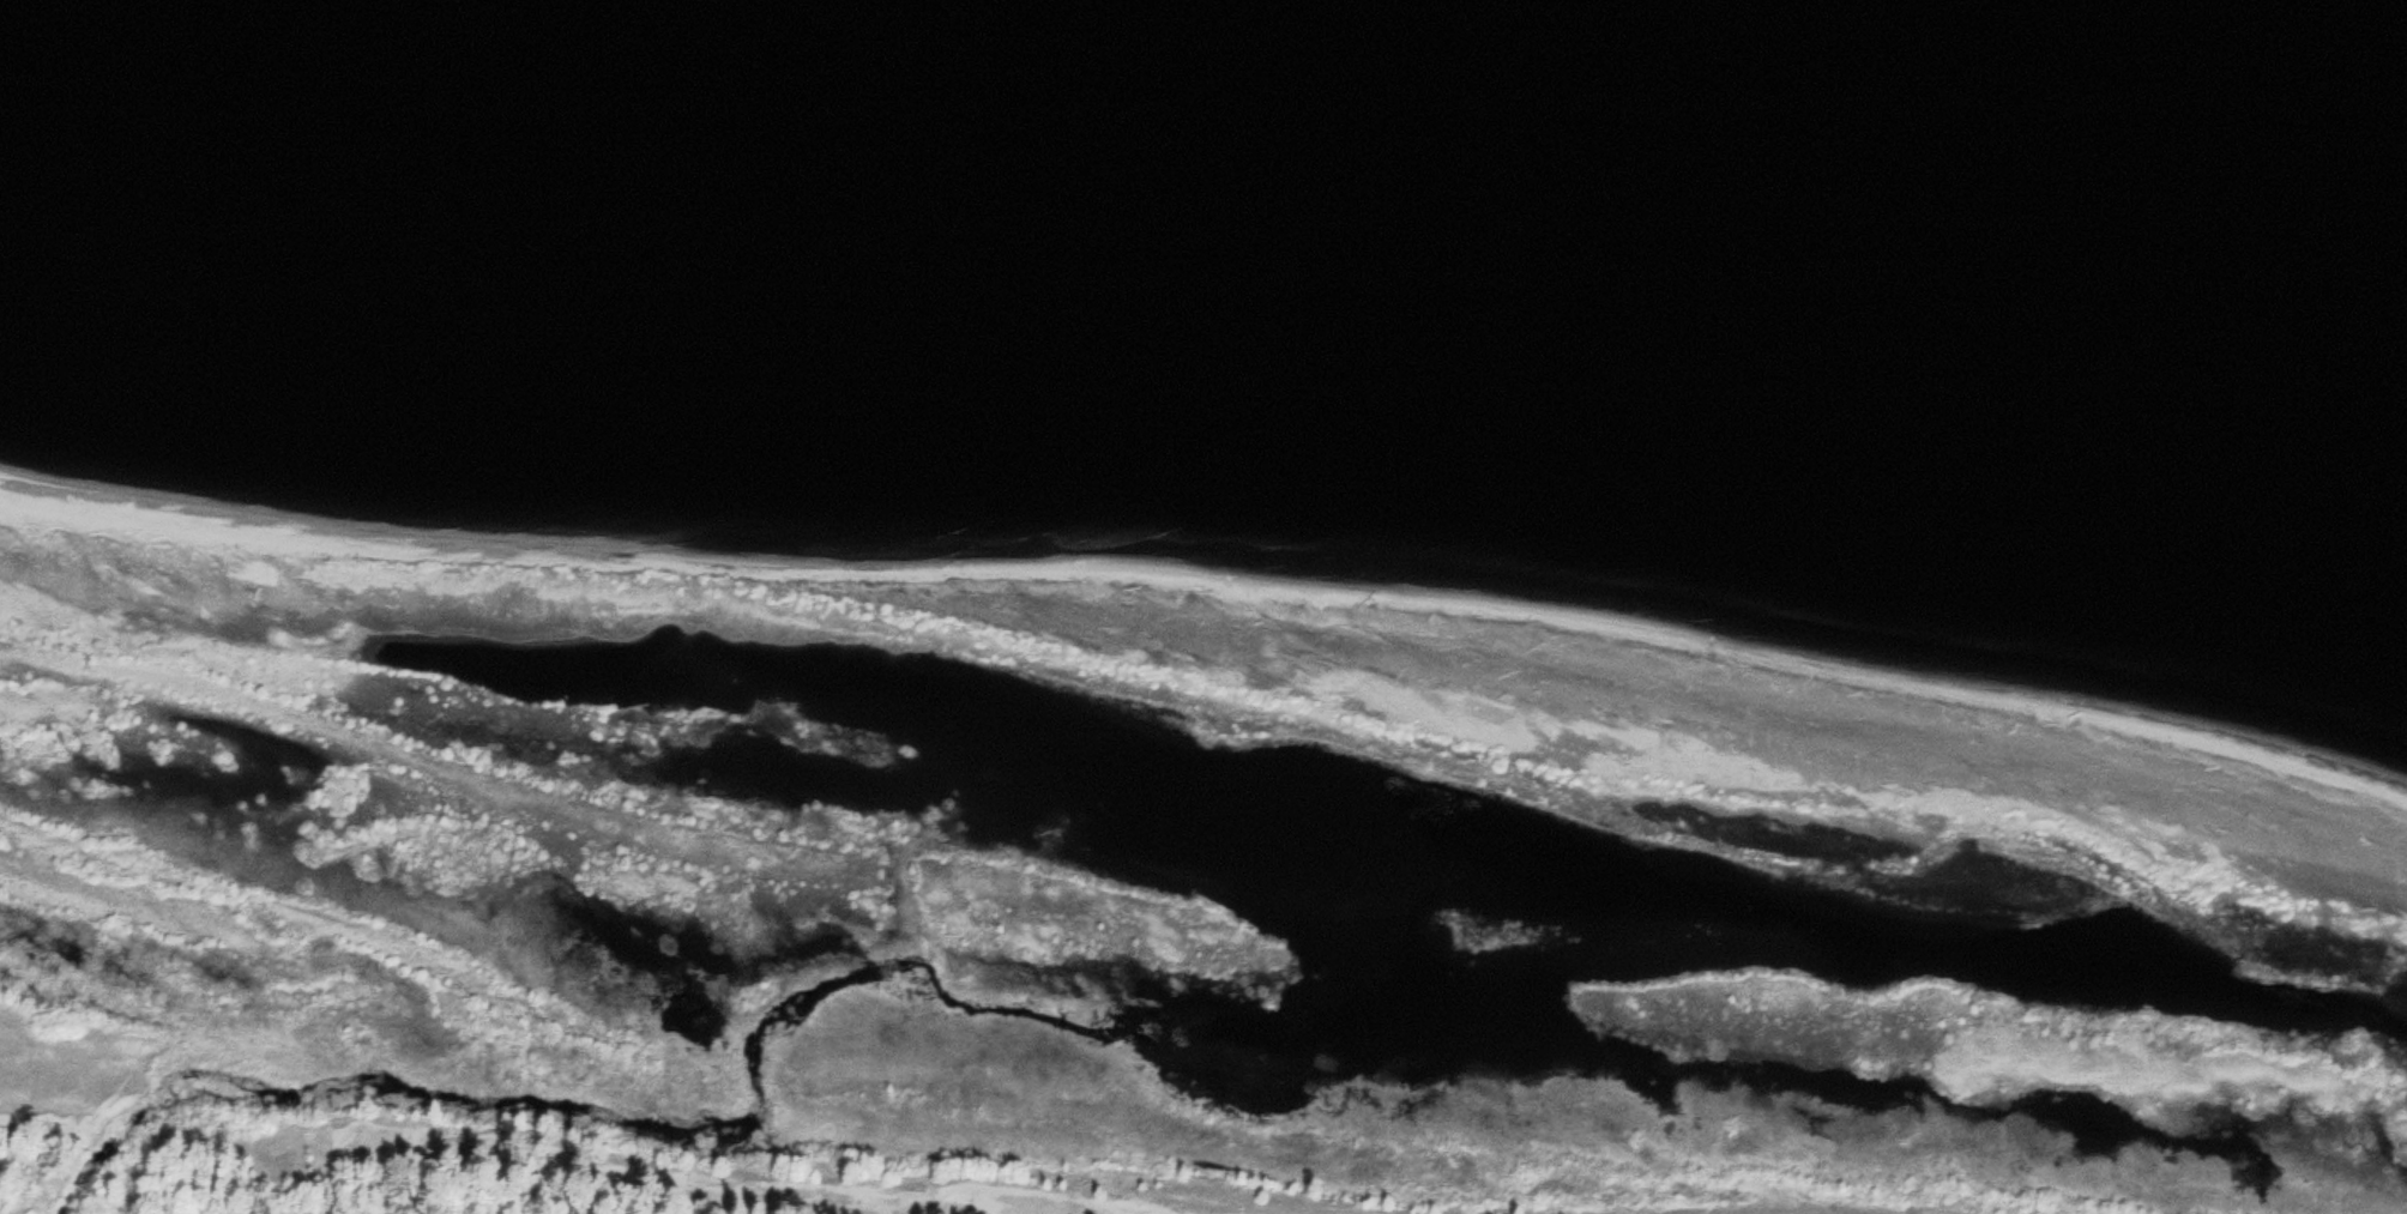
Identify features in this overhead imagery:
road: (84, 1125)
road: (705, 1178)

